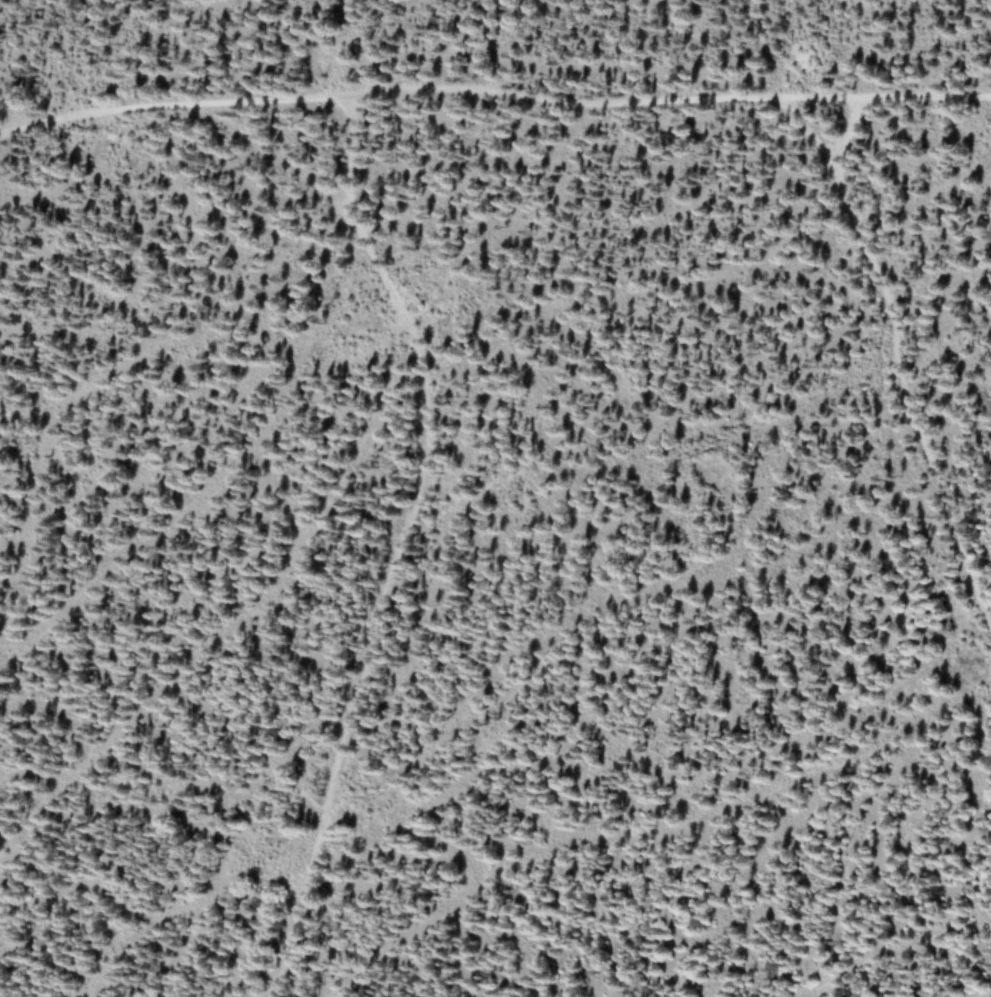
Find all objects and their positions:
road: (493, 93)
road: (844, 130)
road: (896, 355)
road: (401, 544)

